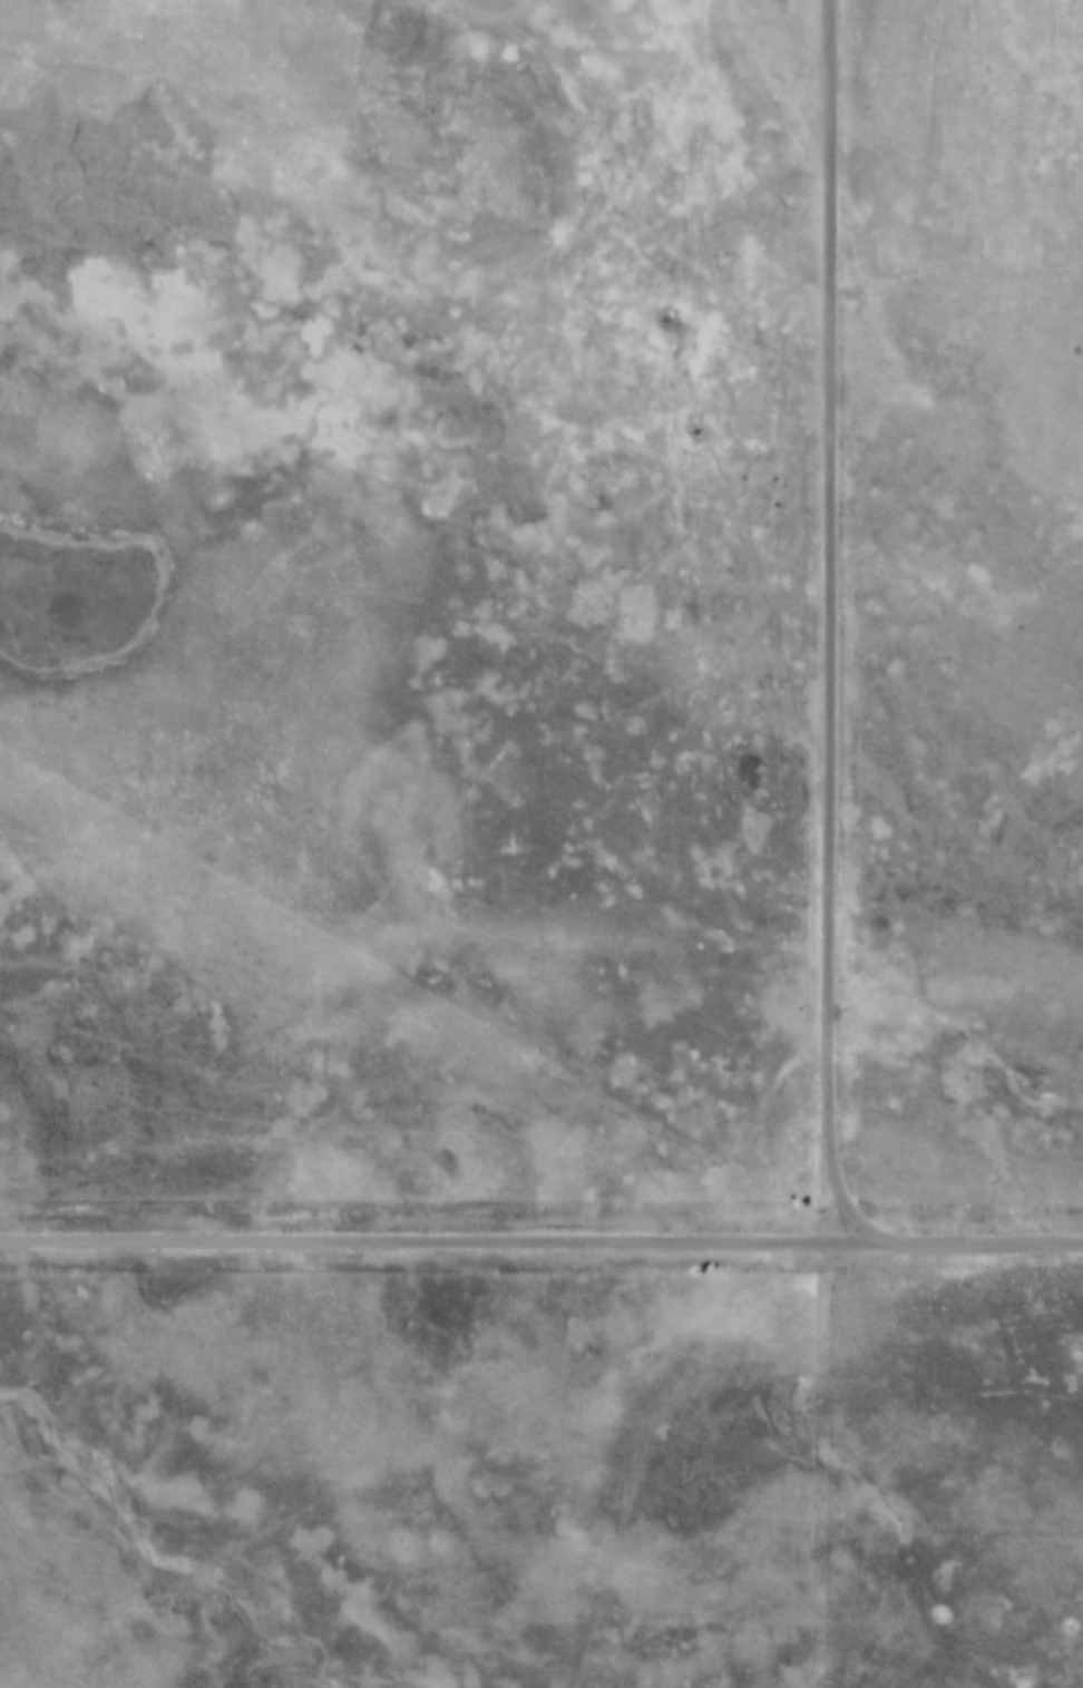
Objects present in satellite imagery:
road: (833, 622)
road: (540, 1241)

